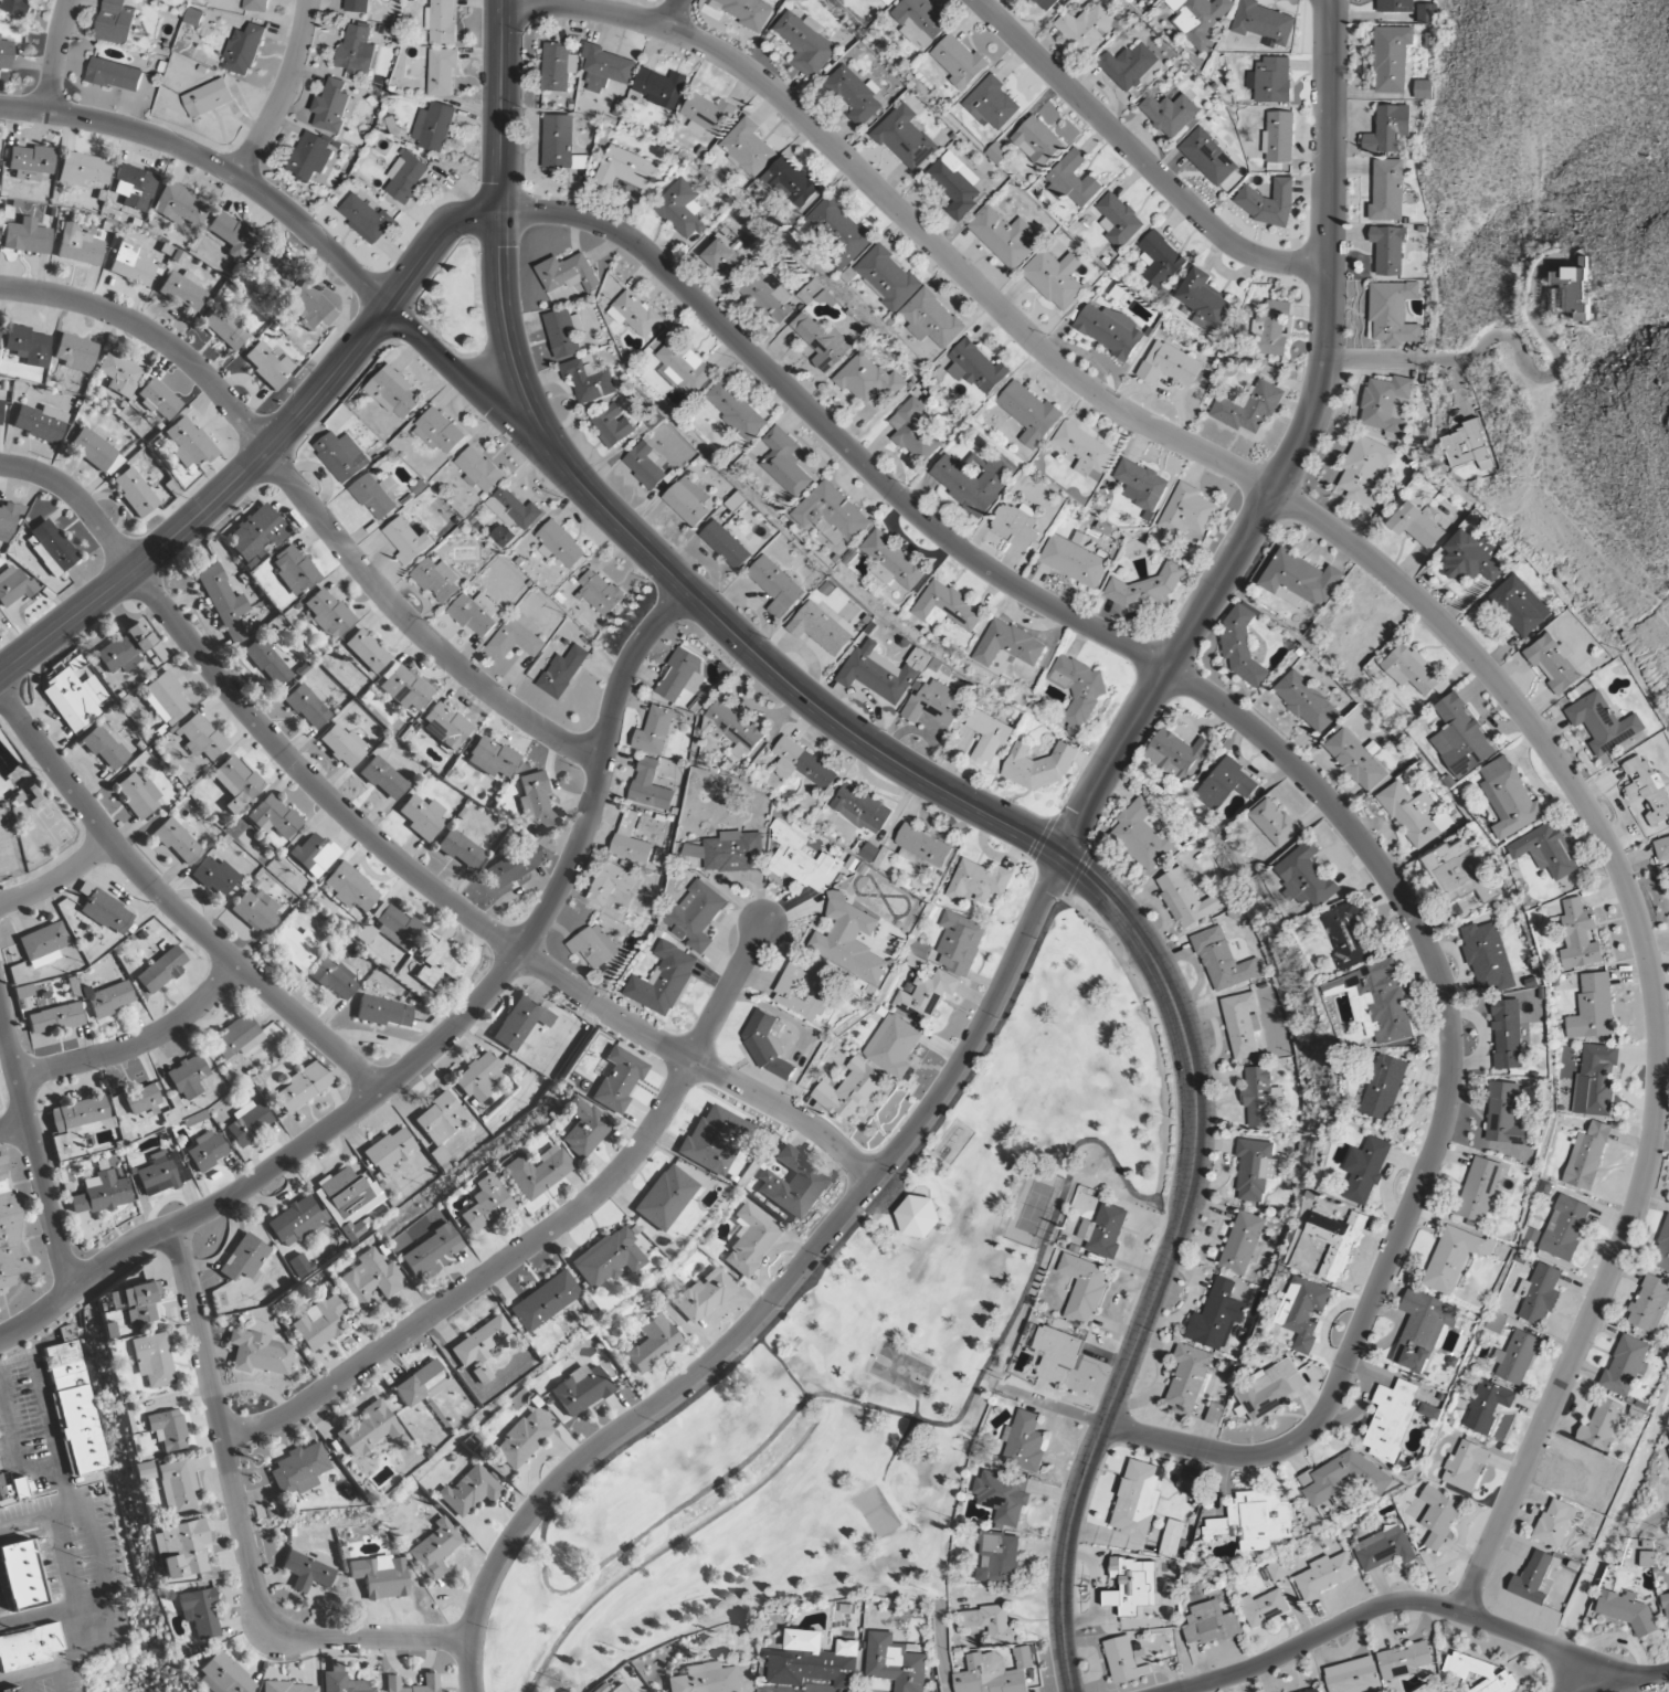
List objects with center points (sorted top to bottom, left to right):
building: (875, 0)
building: (888, 1)
building: (1045, 4)
building: (256, 6)
building: (357, 6)
building: (1396, 6)
building: (12, 7)
building: (748, 12)
building: (1427, 13)
road: (670, 14)
building: (194, 17)
building: (1200, 19)
building: (442, 21)
building: (920, 21)
building: (116, 22)
building: (1263, 22)
building: (1086, 27)
building: (1428, 41)
building: (805, 43)
building: (243, 50)
building: (356, 50)
building: (6, 54)
road: (56, 55)
building: (1391, 59)
building: (959, 62)
building: (1129, 65)
building: (558, 67)
building: (606, 68)
building: (442, 72)
building: (115, 75)
building: (1271, 81)
building: (659, 87)
building: (1423, 89)
road: (283, 92)
building: (855, 95)
building: (209, 98)
building: (991, 104)
road: (486, 105)
building: (331, 106)
road: (514, 106)
building: (1170, 114)
building: (708, 115)
building: (433, 127)
building: (1388, 129)
building: (1278, 137)
building: (905, 138)
building: (558, 141)
building: (1037, 142)
building: (748, 148)
building: (310, 156)
building: (1207, 157)
road: (1139, 158)
building: (30, 162)
road: (213, 163)
building: (81, 169)
building: (625, 169)
building: (406, 177)
building: (1071, 180)
building: (792, 182)
building: (955, 183)
building: (133, 188)
building: (1387, 190)
building: (1270, 203)
building: (178, 204)
building: (682, 209)
building: (366, 219)
building: (1118, 220)
building: (839, 232)
building: (230, 234)
building: (25, 236)
building: (1003, 236)
building: (78, 246)
building: (1388, 250)
building: (1160, 258)
building: (726, 261)
building: (133, 263)
building: (268, 265)
building: (568, 273)
building: (887, 277)
building: (1055, 278)
building: (182, 289)
building: (1574, 289)
building: (809, 292)
building: (768, 298)
building: (1204, 300)
building: (313, 305)
building: (1393, 313)
building: (634, 314)
building: (932, 319)
building: (225, 327)
building: (1272, 328)
building: (1110, 330)
building: (562, 334)
building: (820, 340)
building: (27, 346)
building: (74, 352)
road: (1401, 359)
building: (268, 364)
building: (684, 366)
building: (1169, 366)
road: (1559, 367)
building: (976, 368)
building: (118, 374)
building: (589, 378)
building: (868, 379)
road: (478, 390)
building: (394, 392)
building: (158, 399)
building: (1385, 405)
building: (1248, 408)
building: (736, 410)
building: (1, 411)
building: (1029, 413)
building: (40, 423)
building: (613, 425)
building: (913, 431)
building: (440, 432)
building: (188, 444)
building: (1468, 446)
building: (1084, 450)
building: (95, 452)
road: (264, 452)
building: (342, 456)
building: (785, 463)
building: (645, 465)
building: (479, 469)
building: (1365, 472)
building: (972, 480)
building: (1141, 485)
building: (135, 493)
building: (373, 497)
building: (687, 501)
road: (310, 503)
building: (514, 509)
building: (1187, 510)
building: (832, 511)
building: (9, 520)
building: (1016, 526)
building: (1418, 526)
building: (256, 533)
building: (406, 540)
building: (726, 544)
building: (560, 546)
building: (51, 548)
building: (1470, 559)
building: (1073, 561)
building: (892, 562)
building: (293, 570)
building: (437, 580)
building: (1300, 582)
building: (14, 586)
building: (775, 586)
building: (1144, 589)
building: (600, 593)
building: (223, 603)
road: (1422, 603)
building: (947, 607)
building: (1517, 607)
building: (327, 613)
building: (475, 613)
building: (0, 616)
building: (820, 630)
building: (515, 639)
building: (1008, 645)
building: (1242, 646)
building: (124, 649)
building: (366, 651)
building: (156, 655)
building: (266, 663)
building: (1553, 663)
building: (1413, 670)
building: (562, 671)
building: (881, 671)
building: (1078, 688)
building: (404, 689)
building: (74, 698)
building: (165, 698)
building: (1306, 701)
building: (932, 705)
building: (306, 707)
building: (1604, 723)
building: (444, 726)
building: (732, 727)
building: (655, 731)
building: (989, 736)
building: (200, 737)
building: (1460, 737)
building: (342, 745)
building: (104, 748)
building: (1176, 754)
road: (1282, 757)
building: (490, 758)
building: (1358, 760)
building: (802, 764)
building: (1041, 766)
building: (382, 779)
building: (235, 783)
building: (1226, 784)
building: (649, 786)
building: (1648, 789)
building: (138, 795)
building: (35, 797)
building: (1509, 799)
building: (535, 800)
road: (969, 804)
building: (862, 808)
building: (1414, 814)
building: (421, 816)
building: (272, 817)
building: (1275, 823)
building: (1141, 835)
building: (631, 840)
building: (177, 842)
building: (922, 847)
building: (1661, 849)
building: (459, 850)
building: (1545, 850)
building: (696, 852)
building: (733, 853)
building: (314, 855)
building: (877, 856)
building: (802, 860)
road: (399, 861)
building: (514, 866)
building: (1668, 870)
building: (1460, 873)
building: (1307, 876)
building: (214, 877)
road: (60, 880)
building: (978, 882)
building: (612, 885)
building: (349, 888)
road: (1070, 889)
building: (1185, 899)
road: (177, 906)
building: (104, 909)
road: (1034, 912)
building: (253, 913)
building: (696, 916)
road: (1089, 926)
building: (395, 927)
building: (1346, 935)
building: (1578, 937)
building: (851, 940)
building: (959, 942)
building: (42, 944)
building: (296, 947)
building: (593, 947)
building: (1487, 956)
building: (1223, 961)
building: (436, 964)
building: (161, 970)
building: (332, 980)
building: (664, 980)
building: (806, 990)
building: (927, 995)
building: (109, 1000)
building: (1375, 1002)
building: (1593, 1008)
building: (382, 1012)
building: (54, 1018)
building: (520, 1022)
building: (1242, 1024)
building: (1507, 1034)
building: (236, 1038)
road: (138, 1044)
road: (437, 1045)
building: (764, 1045)
building: (892, 1046)
building: (187, 1077)
building: (478, 1078)
building: (619, 1079)
building: (1596, 1081)
building: (302, 1087)
building: (1384, 1087)
building: (849, 1091)
building: (1259, 1097)
building: (140, 1099)
building: (1504, 1114)
building: (249, 1122)
building: (76, 1124)
road: (13, 1128)
building: (583, 1128)
building: (714, 1140)
road: (33, 1149)
building: (207, 1151)
building: (389, 1151)
building: (1586, 1156)
building: (1254, 1168)
building: (1365, 1170)
building: (537, 1172)
building: (161, 1173)
building: (790, 1184)
building: (1479, 1189)
building: (101, 1192)
building: (665, 1197)
building: (349, 1201)
building: (485, 1204)
park: (1035, 1206)
building: (918, 1217)
building: (1564, 1228)
building: (1105, 1230)
road: (543, 1233)
building: (9, 1235)
building: (750, 1240)
building: (1335, 1242)
building: (1242, 1244)
building: (1662, 1248)
building: (431, 1250)
building: (244, 1258)
building: (608, 1258)
building: (1455, 1259)
building: (299, 1266)
building: (369, 1280)
building: (1084, 1288)
building: (1539, 1293)
building: (703, 1296)
building: (114, 1298)
building: (139, 1301)
building: (545, 1301)
building: (1650, 1303)
building: (1302, 1311)
building: (1216, 1316)
building: (319, 1323)
building: (1423, 1329)
road: (762, 1336)
building: (652, 1344)
building: (478, 1347)
building: (257, 1353)
road: (29, 1354)
park: (862, 1354)
building: (1056, 1354)
building: (1517, 1357)
building: (150, 1360)
building: (1626, 1365)
road: (784, 1367)
park: (899, 1371)
building: (1187, 1378)
building: (420, 1384)
building: (1271, 1389)
building: (580, 1390)
building: (74, 1405)
building: (1487, 1406)
road: (878, 1408)
building: (1429, 1411)
building: (1215, 1414)
building: (1391, 1420)
building: (1602, 1425)
road: (906, 1427)
building: (368, 1429)
building: (165, 1430)
building: (521, 1440)
building: (1024, 1442)
road: (13, 1456)
building: (1466, 1467)
building: (299, 1470)
building: (140, 1471)
road: (60, 1472)
building: (1577, 1474)
building: (1320, 1479)
building: (173, 1485)
building: (11, 1488)
building: (468, 1491)
building: (1003, 1495)
building: (1137, 1499)
park: (878, 1513)
building: (1439, 1516)
building: (1264, 1520)
road: (33, 1521)
building: (1555, 1523)
road: (1650, 1523)
road: (240, 1525)
building: (1217, 1529)
building: (1171, 1540)
building: (435, 1548)
building: (1384, 1548)
building: (179, 1550)
building: (997, 1557)
building: (1648, 1558)
road: (38, 1565)
building: (307, 1571)
building: (1325, 1575)
building: (21, 1576)
building: (380, 1577)
building: (1533, 1578)
building: (1132, 1585)
road: (1417, 1603)
road: (42, 1604)
building: (1666, 1607)
building: (1264, 1608)
building: (1626, 1609)
building: (198, 1612)
building: (990, 1622)
building: (1211, 1624)
building: (28, 1646)
road: (941, 1647)
building: (1126, 1660)
building: (814, 1661)
building: (1404, 1661)
building: (895, 1663)
building: (994, 1673)
building: (1480, 1674)
building: (219, 1675)
building: (1353, 1675)
building: (706, 1679)
building: (339, 1681)
building: (427, 1681)
road: (1588, 1682)
building: (285, 1688)
road: (1192, 1689)
building: (10, 1690)
building: (1314, 1691)

